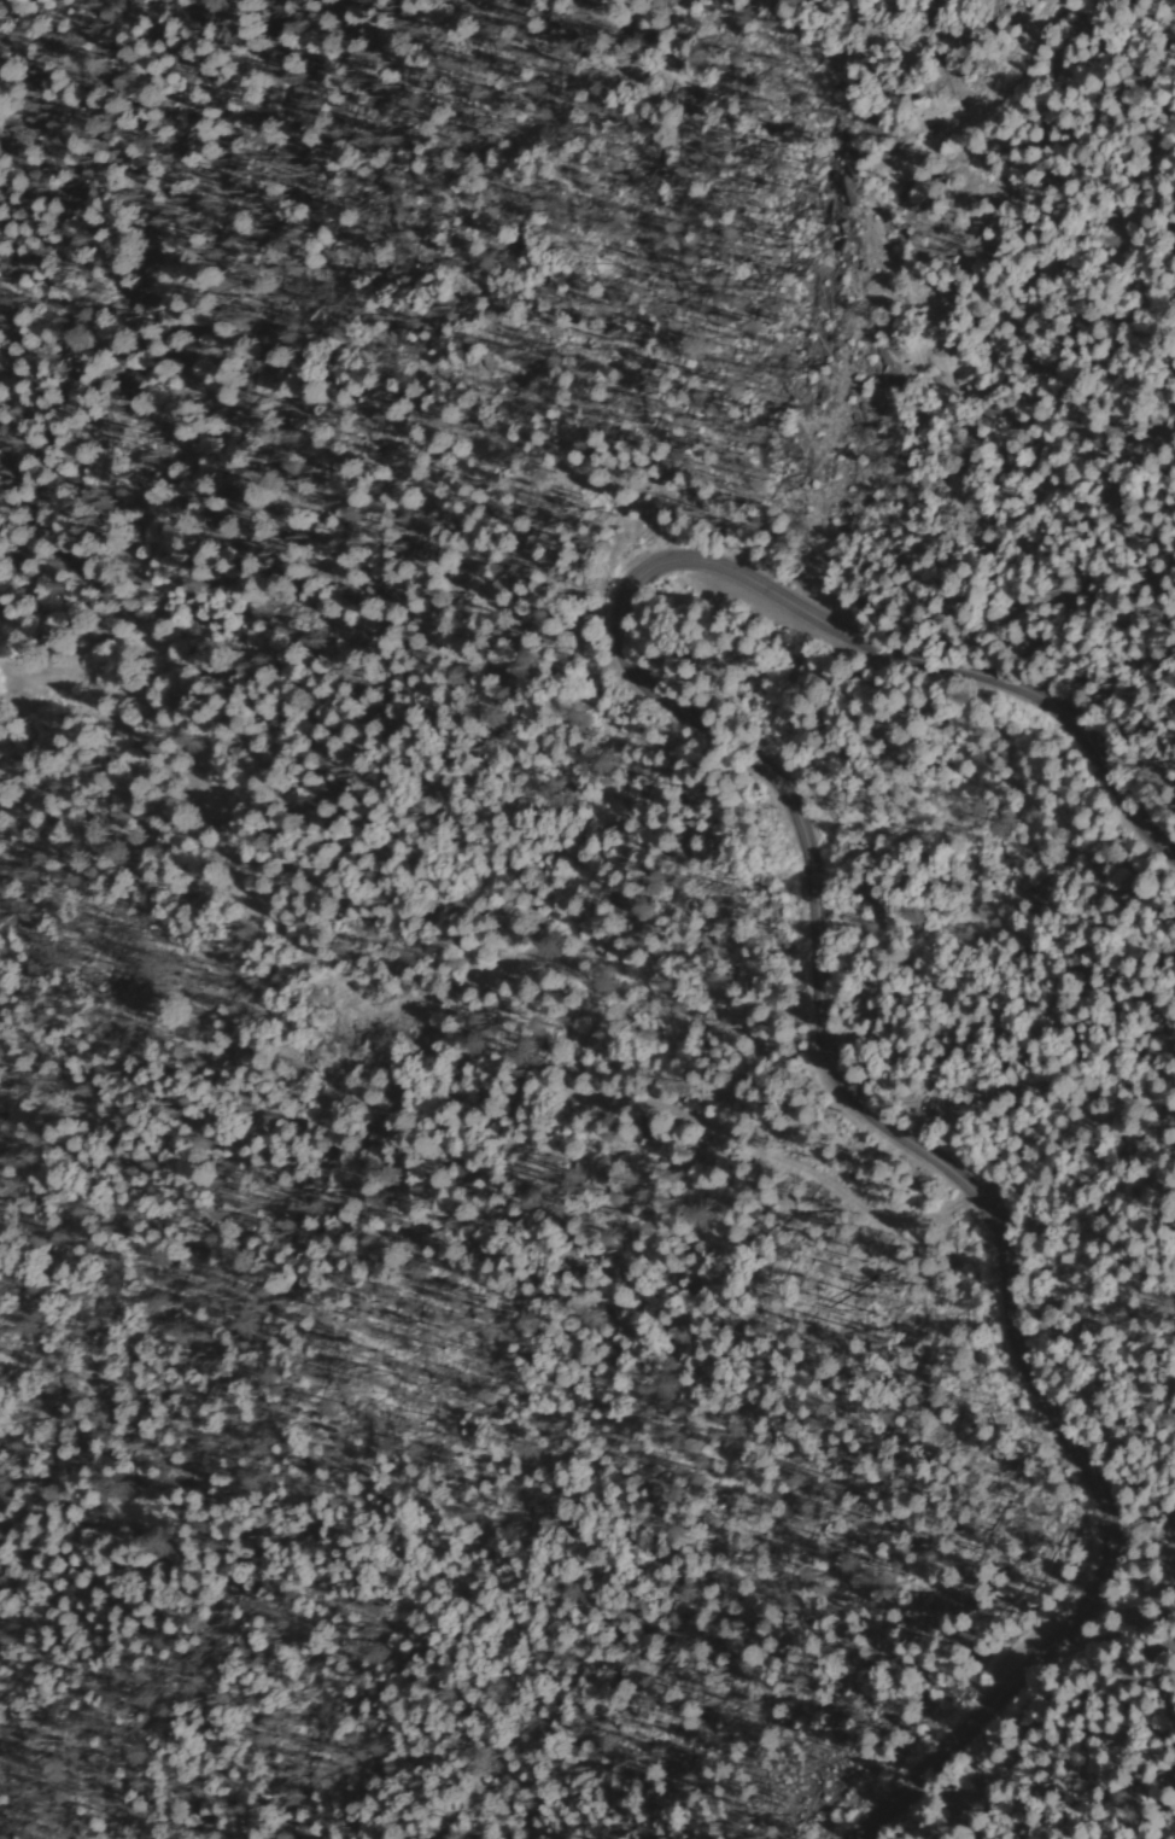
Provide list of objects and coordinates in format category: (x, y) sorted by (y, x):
road: (818, 934)

